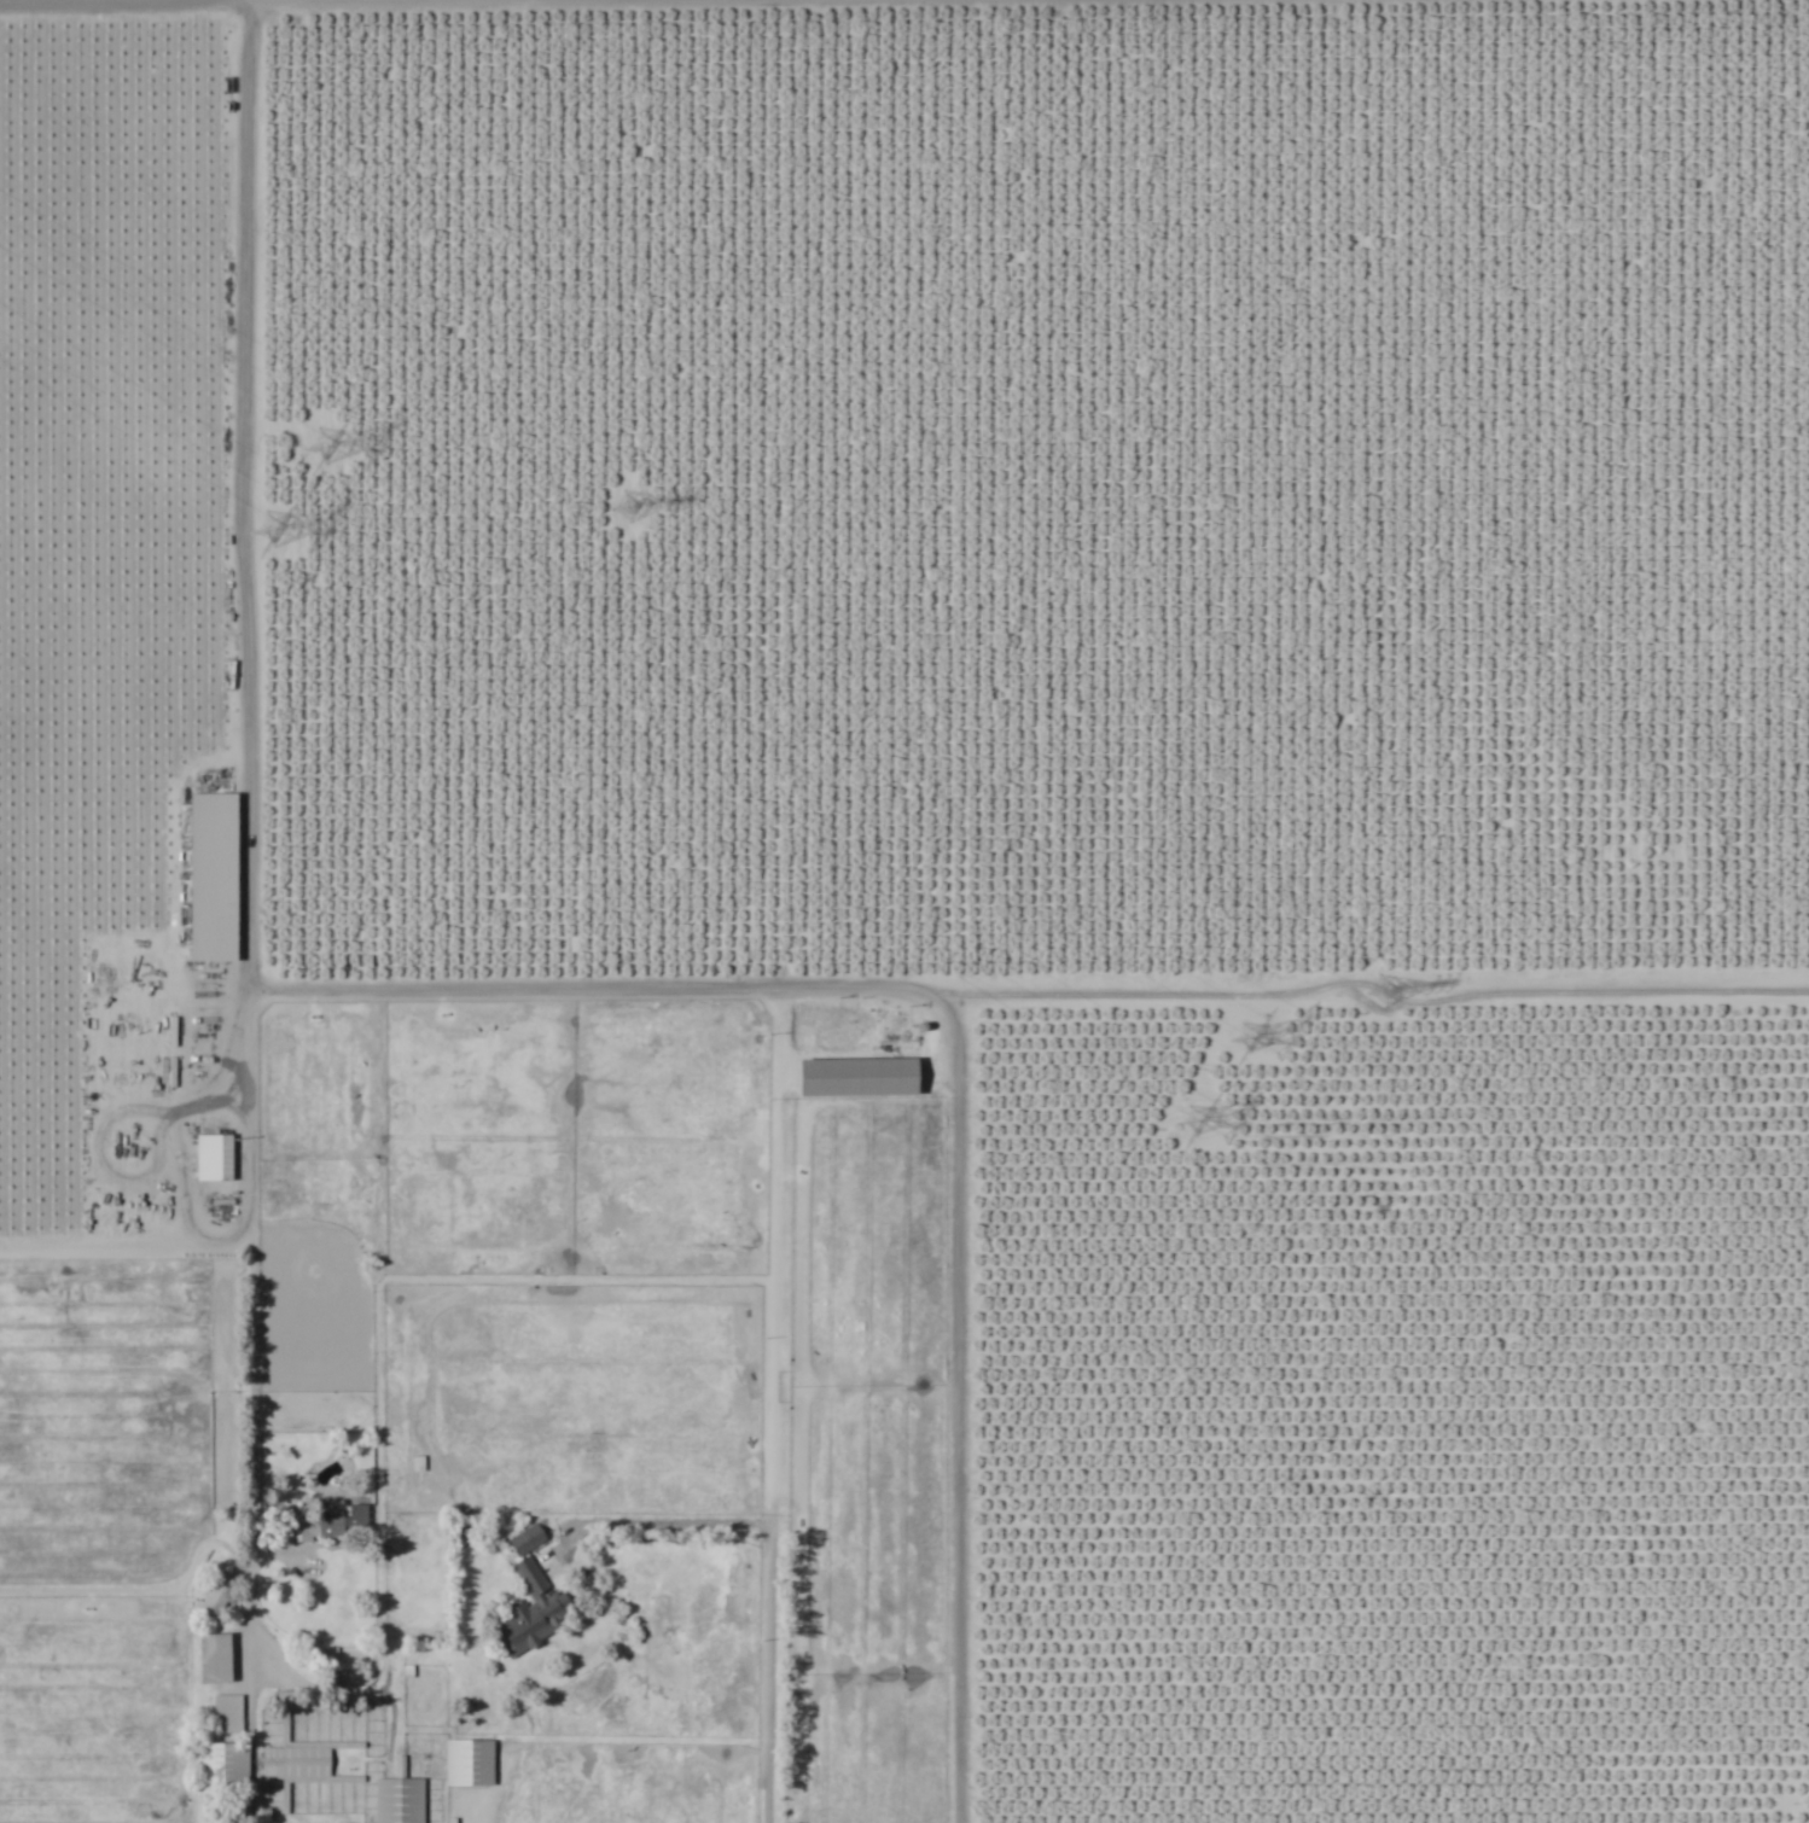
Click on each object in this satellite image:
power tower: (338, 456)
power tower: (624, 503)
power tower: (293, 546)
building: (214, 878)
crop: (904, 911)
power tower: (1380, 988)
power tower: (1258, 1049)
building: (865, 1078)
power tower: (1211, 1129)
building: (214, 1158)
road: (778, 1419)
road: (956, 1433)
building: (335, 1524)
road: (669, 1525)
building: (534, 1601)
building: (217, 1660)
building: (227, 1714)
building: (471, 1764)
building: (292, 1772)
building: (220, 1780)
building: (400, 1801)

